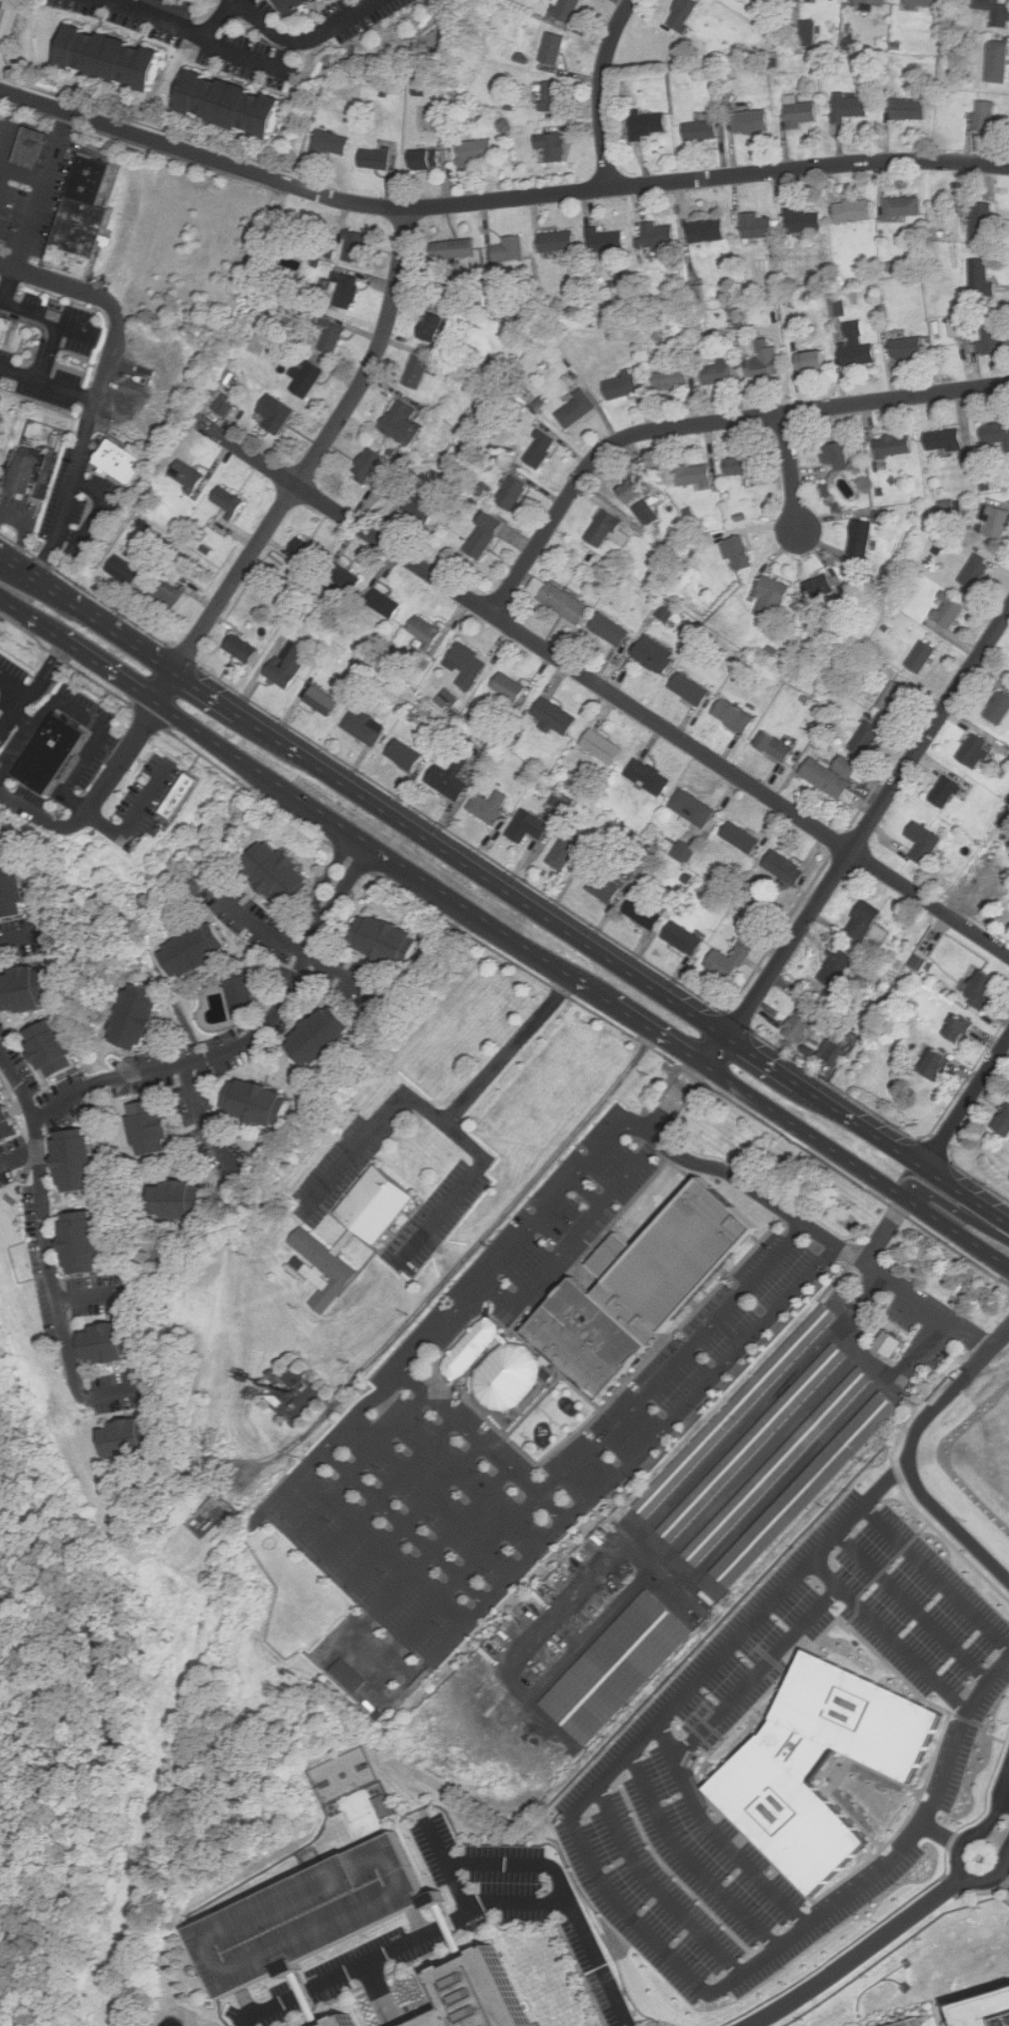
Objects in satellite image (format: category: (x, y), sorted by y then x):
building: (811, 0)
building: (875, 2)
building: (924, 4)
building: (301, 5)
building: (180, 7)
building: (569, 10)
building: (996, 11)
road: (3, 12)
building: (685, 14)
road: (221, 18)
building: (810, 34)
road: (197, 35)
road: (308, 39)
building: (555, 49)
building: (114, 58)
building: (999, 62)
road: (601, 91)
building: (556, 96)
building: (235, 105)
building: (851, 107)
building: (911, 110)
building: (805, 115)
building: (985, 117)
building: (753, 122)
building: (651, 125)
building: (704, 131)
building: (332, 144)
building: (32, 147)
building: (555, 147)
building: (476, 152)
building: (378, 159)
building: (428, 160)
road: (25, 166)
building: (95, 176)
road: (5, 178)
road: (46, 191)
road: (496, 200)
building: (906, 209)
building: (855, 211)
building: (976, 219)
building: (805, 221)
building: (760, 227)
building: (709, 231)
building: (82, 235)
building: (661, 235)
building: (605, 240)
building: (561, 241)
building: (357, 245)
building: (456, 250)
building: (512, 250)
building: (978, 278)
road: (10, 287)
building: (347, 289)
building: (838, 306)
road: (56, 322)
building: (436, 326)
building: (961, 326)
building: (7, 329)
building: (335, 337)
building: (990, 337)
building: (859, 346)
building: (908, 347)
building: (816, 360)
building: (767, 364)
building: (419, 370)
building: (720, 372)
building: (309, 375)
building: (675, 378)
road: (50, 383)
road: (105, 384)
building: (625, 384)
building: (227, 405)
building: (579, 408)
building: (1, 409)
building: (276, 414)
building: (404, 422)
road: (705, 423)
building: (995, 434)
building: (942, 439)
building: (896, 445)
building: (542, 449)
road: (318, 450)
building: (840, 454)
building: (968, 456)
building: (122, 459)
building: (405, 463)
building: (371, 464)
building: (746, 466)
road: (791, 471)
building: (25, 472)
building: (191, 474)
building: (696, 474)
building: (633, 491)
building: (514, 492)
building: (231, 499)
building: (951, 508)
building: (420, 510)
road: (99, 513)
building: (649, 513)
building: (880, 517)
building: (993, 521)
building: (610, 529)
building: (488, 535)
building: (863, 537)
building: (309, 550)
road: (2, 551)
building: (739, 552)
building: (128, 570)
building: (974, 571)
building: (346, 578)
building: (823, 586)
building: (169, 594)
building: (774, 595)
building: (561, 599)
building: (386, 603)
road: (16, 604)
building: (947, 609)
road: (91, 612)
building: (666, 613)
road: (44, 623)
building: (614, 629)
building: (428, 630)
building: (245, 648)
building: (655, 655)
building: (919, 656)
building: (292, 664)
building: (471, 664)
road: (109, 667)
road: (39, 684)
road: (171, 687)
road: (603, 687)
building: (511, 688)
building: (693, 689)
road: (210, 691)
building: (897, 698)
building: (325, 701)
building: (997, 708)
building: (737, 715)
road: (85, 716)
building: (558, 717)
road: (15, 722)
road: (27, 723)
building: (365, 727)
building: (870, 739)
building: (605, 747)
building: (778, 747)
building: (970, 750)
building: (53, 754)
building: (407, 755)
building: (846, 765)
building: (651, 777)
building: (452, 779)
building: (831, 781)
building: (948, 791)
building: (181, 795)
building: (563, 800)
road: (99, 803)
building: (491, 806)
building: (695, 807)
road: (133, 814)
road: (868, 823)
building: (530, 826)
building: (743, 838)
road: (369, 842)
building: (926, 842)
building: (687, 851)
building: (572, 854)
building: (788, 868)
building: (280, 873)
road: (484, 873)
building: (609, 888)
building: (14, 892)
building: (646, 913)
building: (870, 923)
building: (686, 938)
building: (388, 940)
building: (197, 950)
building: (740, 954)
building: (919, 962)
road: (303, 964)
building: (839, 968)
road: (587, 987)
building: (34, 988)
building: (986, 989)
building: (244, 993)
building: (142, 1017)
building: (802, 1022)
road: (649, 1027)
building: (963, 1028)
building: (326, 1036)
road: (250, 1038)
building: (58, 1048)
road: (714, 1048)
road: (509, 1050)
building: (834, 1051)
road: (762, 1058)
building: (939, 1064)
building: (263, 1102)
road: (969, 1102)
building: (8, 1119)
building: (1002, 1122)
road: (863, 1124)
road: (449, 1125)
road: (199, 1126)
road: (643, 1126)
building: (152, 1127)
road: (357, 1153)
road: (19, 1159)
building: (82, 1159)
parking lot: (349, 1160)
road: (854, 1163)
road: (973, 1179)
road: (592, 1191)
road: (969, 1193)
building: (183, 1199)
building: (381, 1201)
road: (449, 1211)
road: (789, 1214)
parking lot: (442, 1216)
road: (958, 1217)
road: (43, 1222)
road: (591, 1222)
road: (886, 1229)
building: (88, 1242)
road: (518, 1246)
building: (324, 1267)
building: (643, 1288)
road: (504, 1292)
road: (92, 1296)
building: (890, 1342)
building: (114, 1343)
road: (679, 1363)
building: (493, 1365)
parking lot: (410, 1390)
road: (112, 1393)
road: (694, 1401)
road: (365, 1409)
building: (740, 1409)
road: (475, 1429)
building: (135, 1438)
building: (757, 1439)
road: (910, 1454)
road: (365, 1459)
building: (781, 1464)
road: (302, 1473)
road: (887, 1483)
road: (395, 1484)
building: (810, 1487)
road: (422, 1509)
road: (412, 1521)
road: (477, 1561)
road: (936, 1577)
road: (505, 1588)
road: (398, 1589)
road: (912, 1608)
road: (890, 1637)
building: (621, 1664)
road: (757, 1673)
building: (349, 1675)
road: (758, 1717)
road: (983, 1726)
road: (829, 1769)
building: (765, 1771)
park: (342, 1775)
road: (886, 1777)
road: (840, 1778)
road: (703, 1790)
road: (1005, 1797)
building: (381, 1804)
park: (363, 1815)
road: (856, 1820)
road: (987, 1826)
road: (942, 1834)
road: (716, 1835)
road: (690, 1860)
road: (515, 1865)
road: (446, 1866)
road: (995, 1876)
road: (1004, 1877)
road: (659, 1886)
road: (462, 1914)
building: (305, 1915)
parking lot: (305, 1915)
road: (419, 1920)
road: (642, 1926)
road: (446, 1930)
road: (860, 1955)
building: (192, 1970)
building: (467, 1994)
road: (964, 1995)
road: (301, 1997)
road: (247, 2002)
building: (985, 2010)
building: (333, 2021)
building: (913, 2022)
parking lot: (913, 2022)

